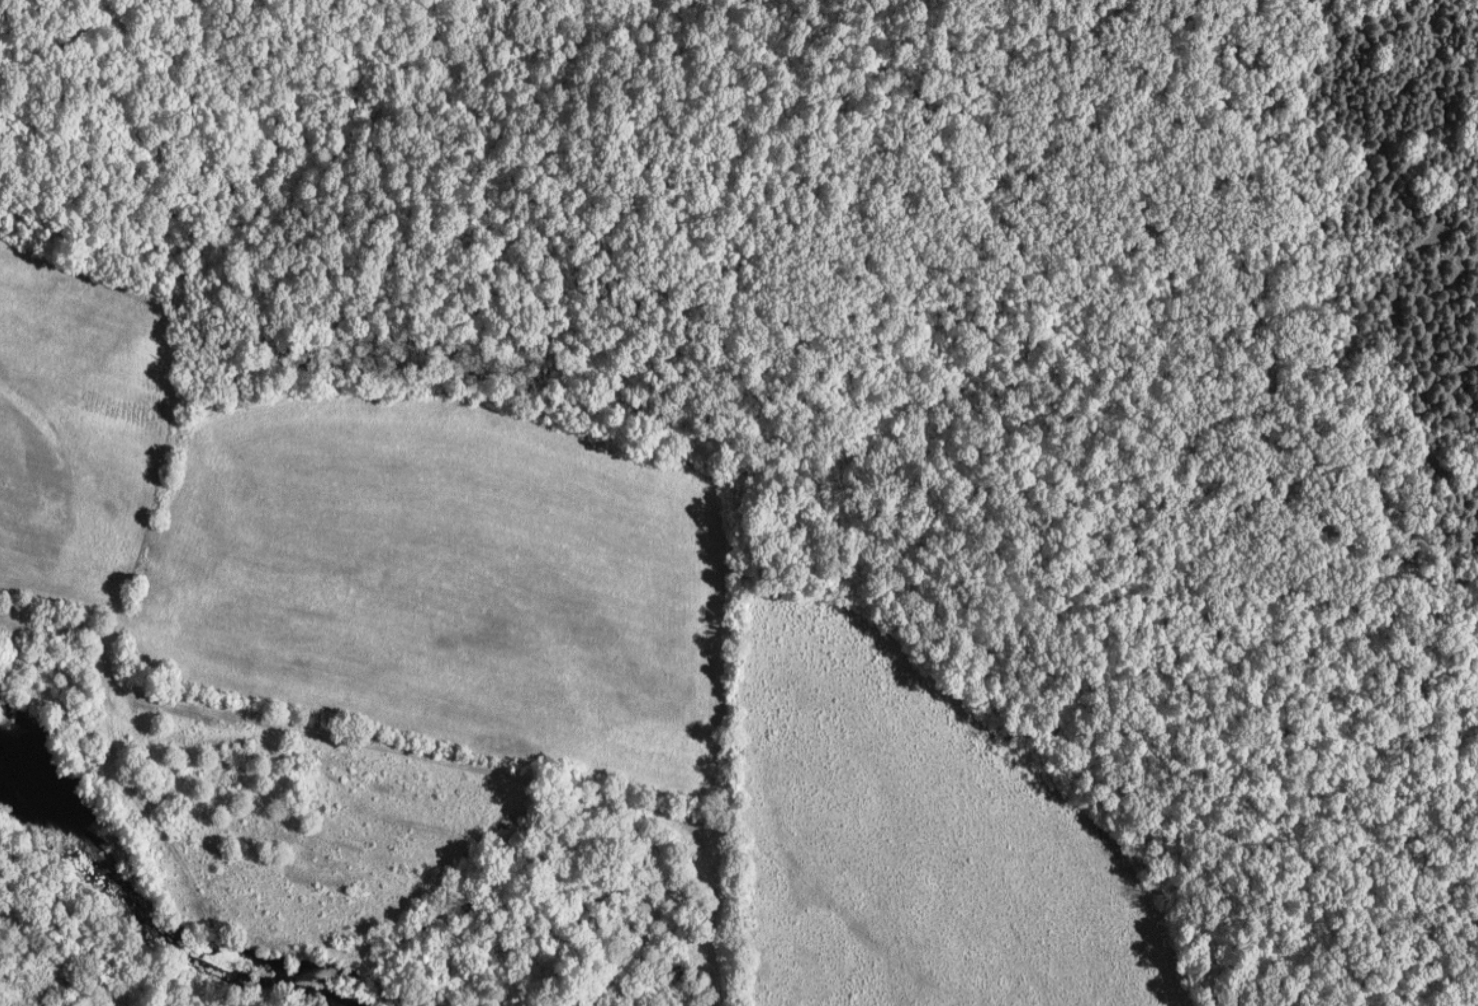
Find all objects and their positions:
road: (82, 619)

